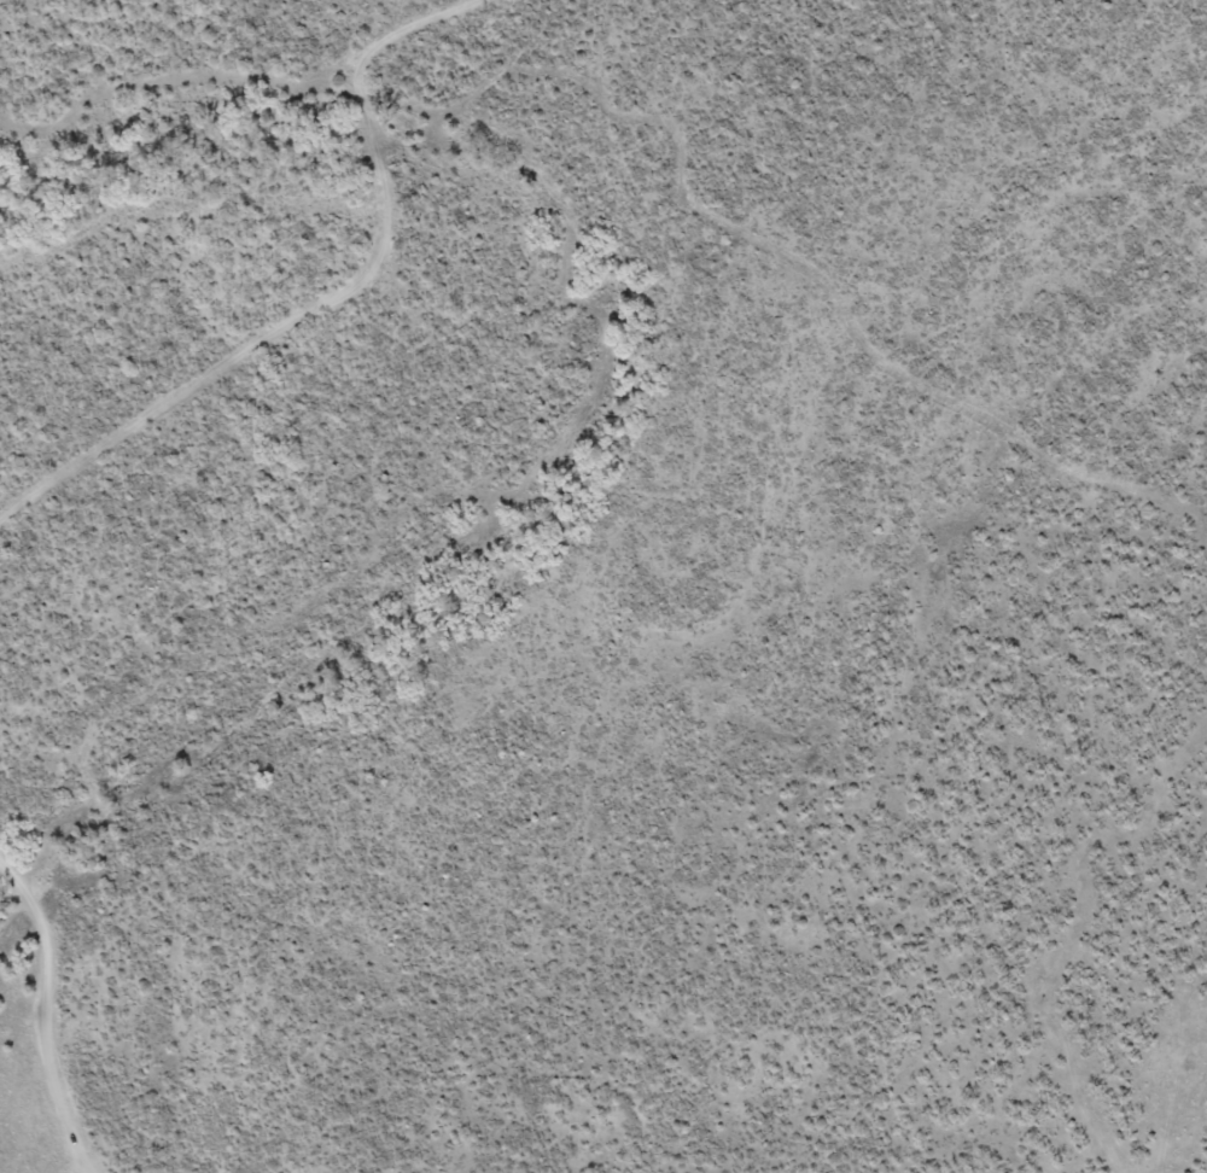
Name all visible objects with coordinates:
road: (62, 1000)

